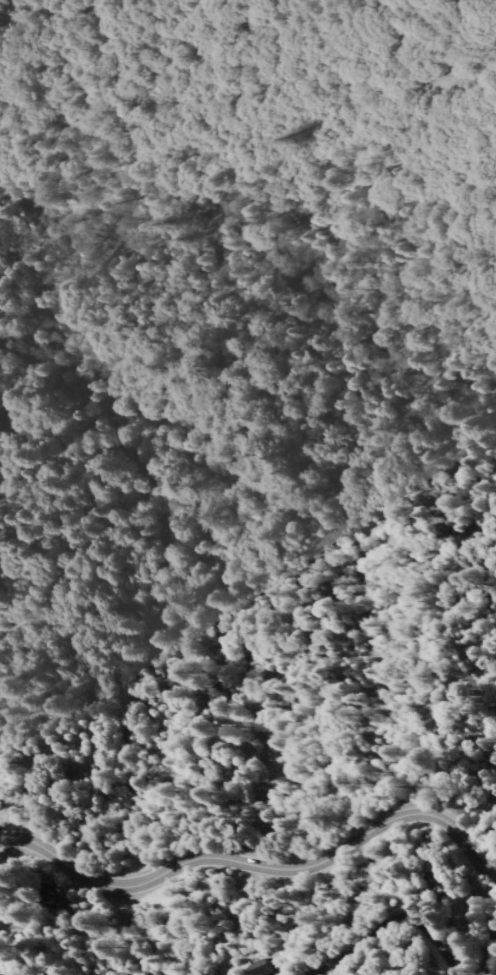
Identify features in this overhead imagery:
road: (14, 840)
road: (15, 850)
road: (268, 867)
road: (465, 903)
building: (3, 905)
road: (60, 923)
road: (390, 926)
building: (267, 968)

